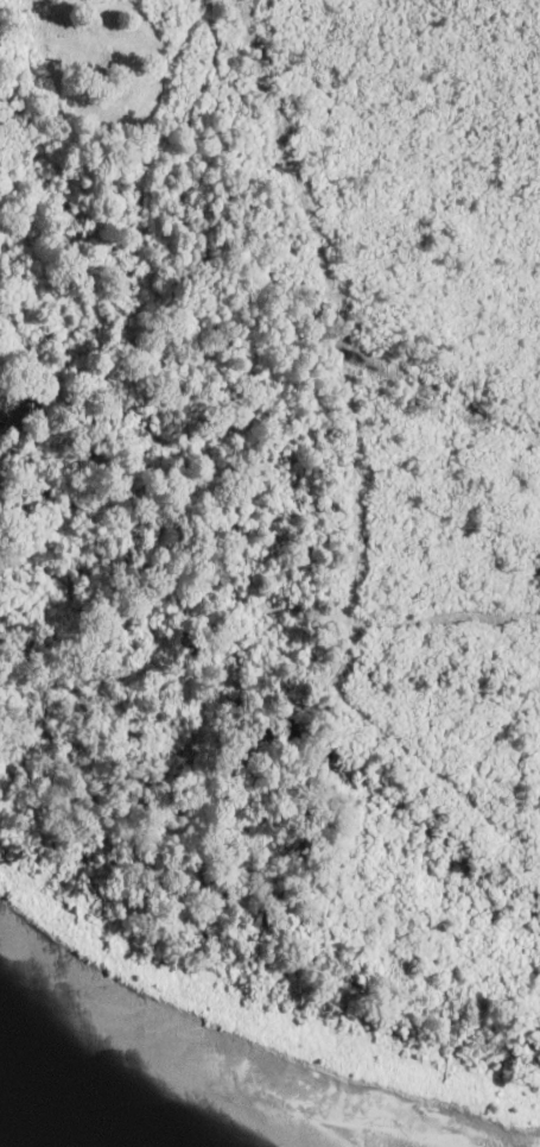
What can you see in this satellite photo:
river: (55, 1105)

